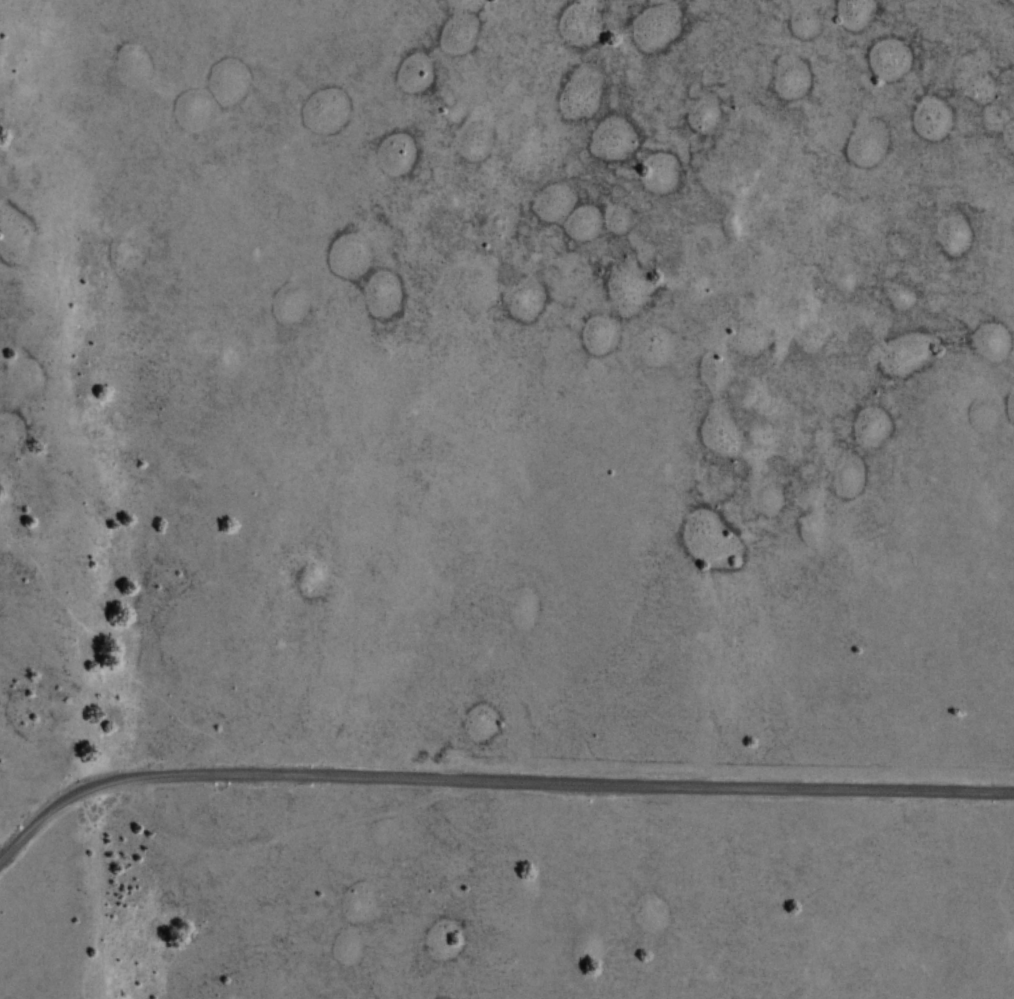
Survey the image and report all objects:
road: (492, 785)

